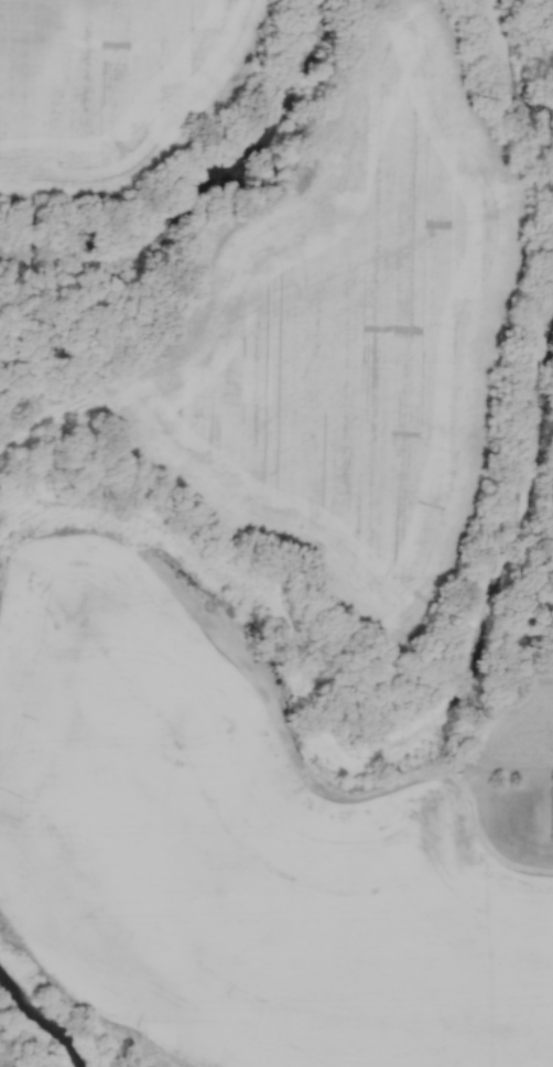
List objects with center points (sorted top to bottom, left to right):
crop: (235, 858)
river: (48, 1023)

